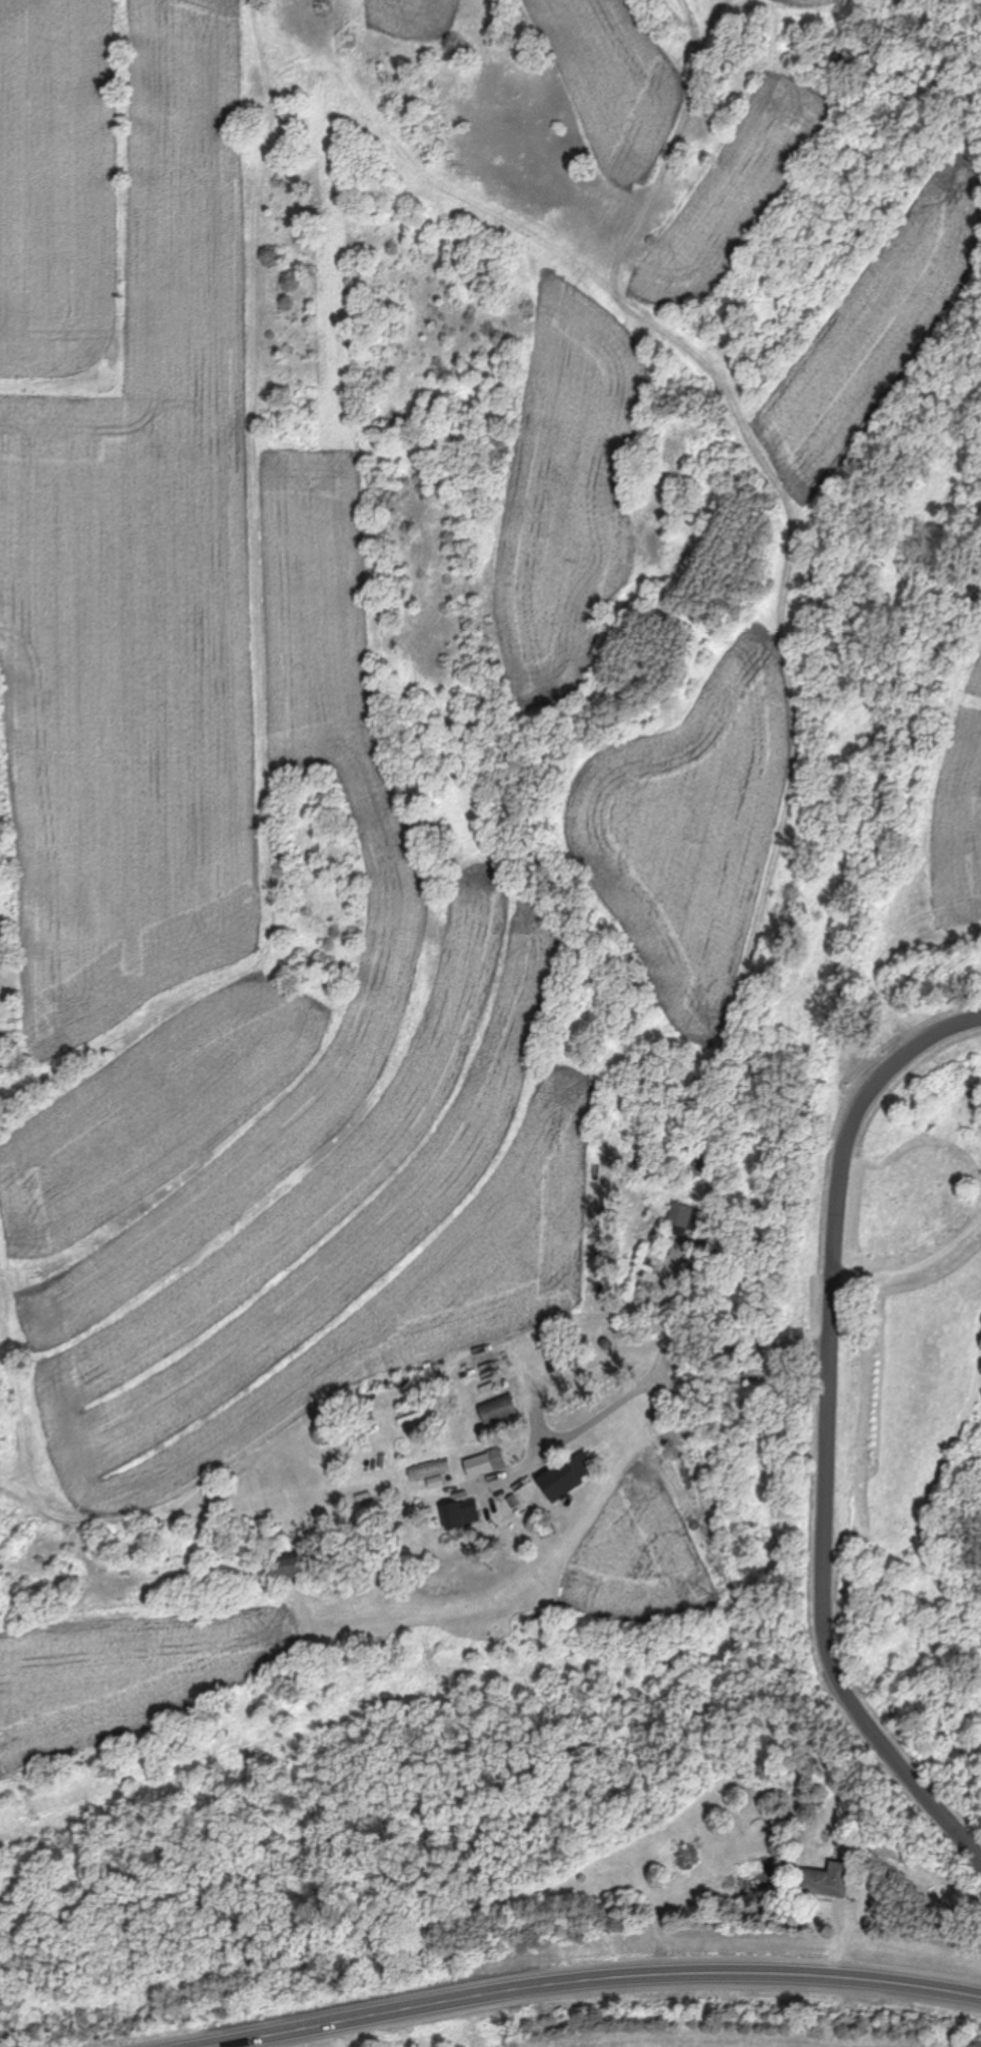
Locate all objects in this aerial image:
building: (684, 1216)
road: (918, 1267)
road: (690, 1357)
building: (554, 1358)
building: (499, 1412)
road: (835, 1421)
building: (487, 1463)
building: (567, 1476)
building: (462, 1514)
building: (826, 1881)
road: (600, 1976)
crop: (684, 2019)

